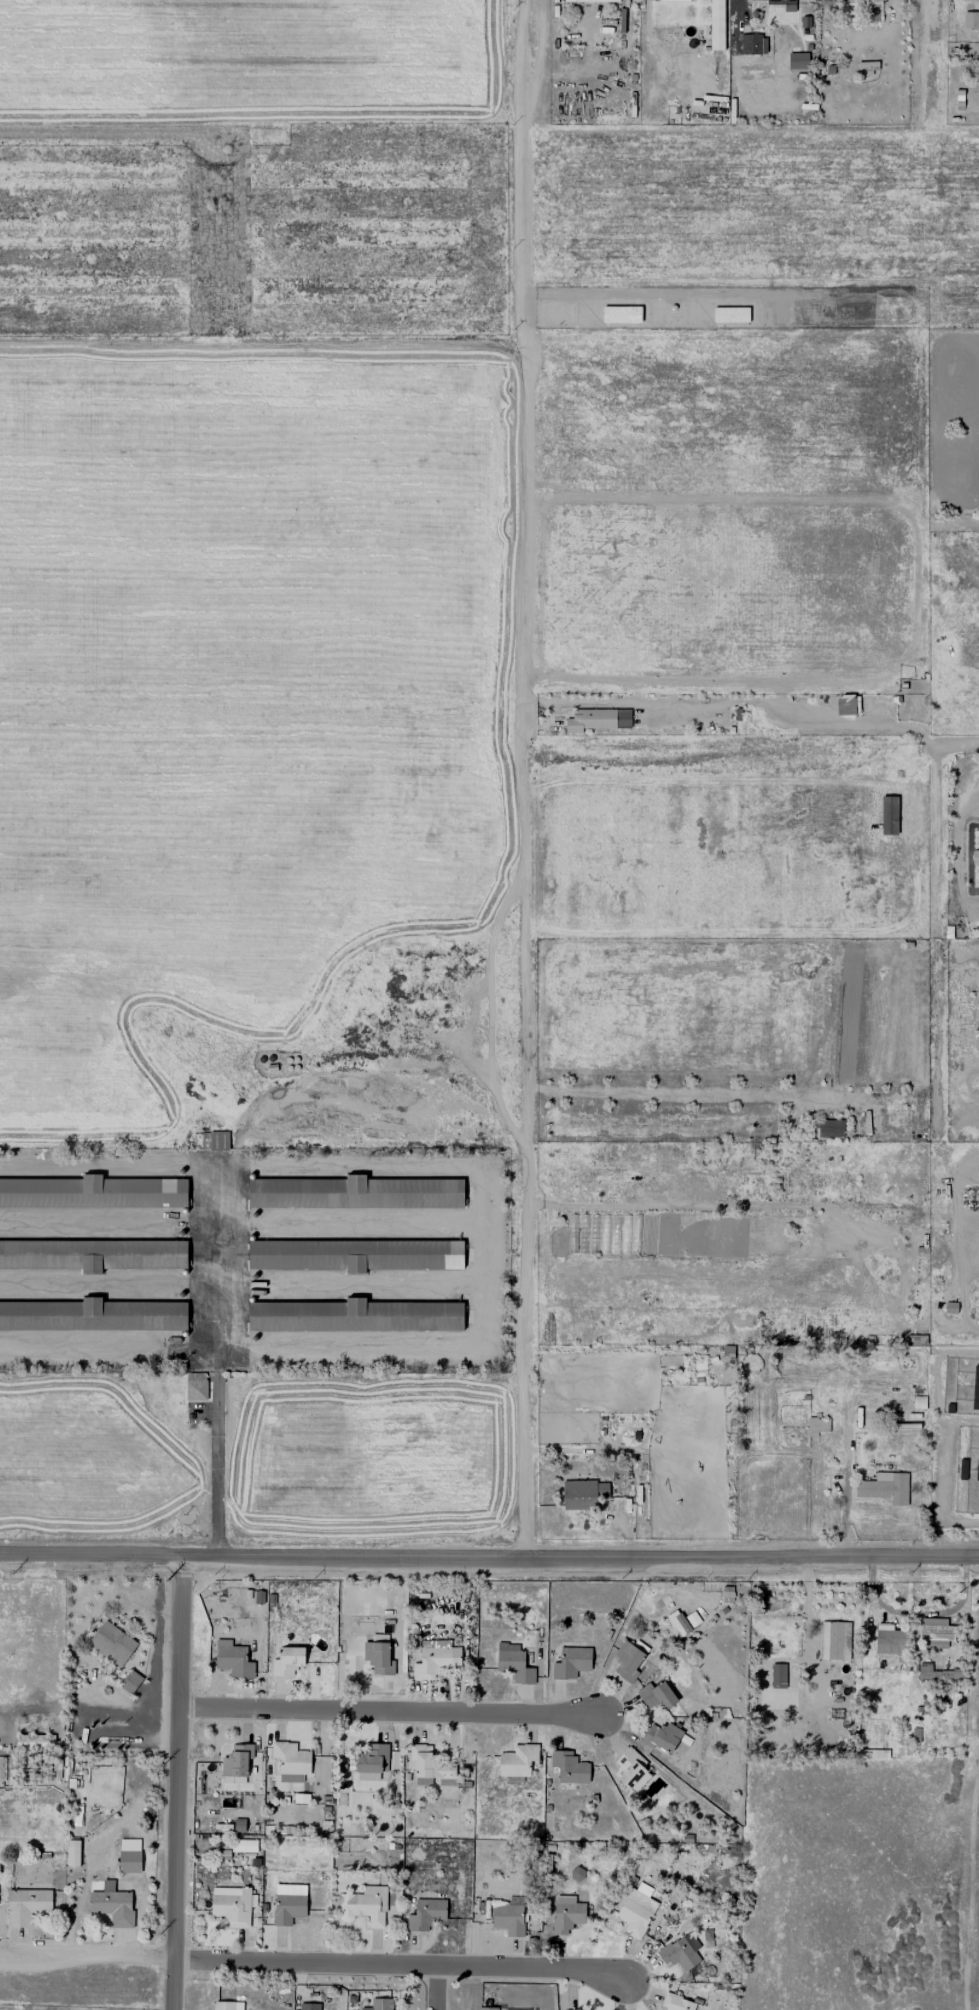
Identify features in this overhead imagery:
building: (673, 0)
building: (589, 1)
building: (865, 2)
building: (975, 3)
building: (783, 4)
building: (970, 20)
building: (715, 25)
building: (751, 44)
road: (928, 57)
building: (797, 61)
road: (117, 132)
building: (856, 704)
building: (597, 719)
road: (958, 745)
road: (522, 779)
building: (974, 856)
road: (936, 941)
road: (974, 952)
building: (828, 1128)
building: (217, 1142)
building: (92, 1192)
building: (354, 1192)
building: (93, 1255)
building: (354, 1255)
road: (478, 1257)
building: (93, 1315)
building: (353, 1316)
building: (195, 1386)
building: (975, 1388)
building: (816, 1426)
road: (216, 1453)
building: (976, 1470)
road: (844, 1480)
building: (884, 1487)
building: (582, 1494)
road: (489, 1557)
building: (726, 1594)
building: (691, 1619)
building: (677, 1623)
building: (935, 1632)
building: (888, 1640)
building: (834, 1641)
building: (111, 1643)
building: (377, 1658)
building: (628, 1659)
building: (233, 1660)
building: (286, 1661)
building: (434, 1661)
building: (570, 1662)
building: (513, 1663)
building: (777, 1676)
building: (130, 1681)
building: (656, 1696)
road: (390, 1711)
building: (661, 1737)
building: (34, 1742)
building: (516, 1760)
building: (290, 1761)
building: (236, 1762)
building: (371, 1762)
building: (429, 1767)
building: (568, 1767)
building: (630, 1769)
road: (177, 1782)
building: (237, 1825)
building: (243, 1846)
building: (72, 1853)
building: (128, 1855)
building: (576, 1873)
building: (111, 1904)
building: (366, 1905)
building: (25, 1906)
building: (231, 1906)
building: (287, 1908)
building: (635, 1912)
building: (425, 1914)
building: (566, 1914)
road: (975, 1914)
building: (508, 1916)
building: (680, 1952)
road: (311, 1964)
road: (436, 1988)
building: (675, 2003)
building: (379, 2004)
building: (226, 2005)
building: (308, 2006)
building: (486, 2008)

